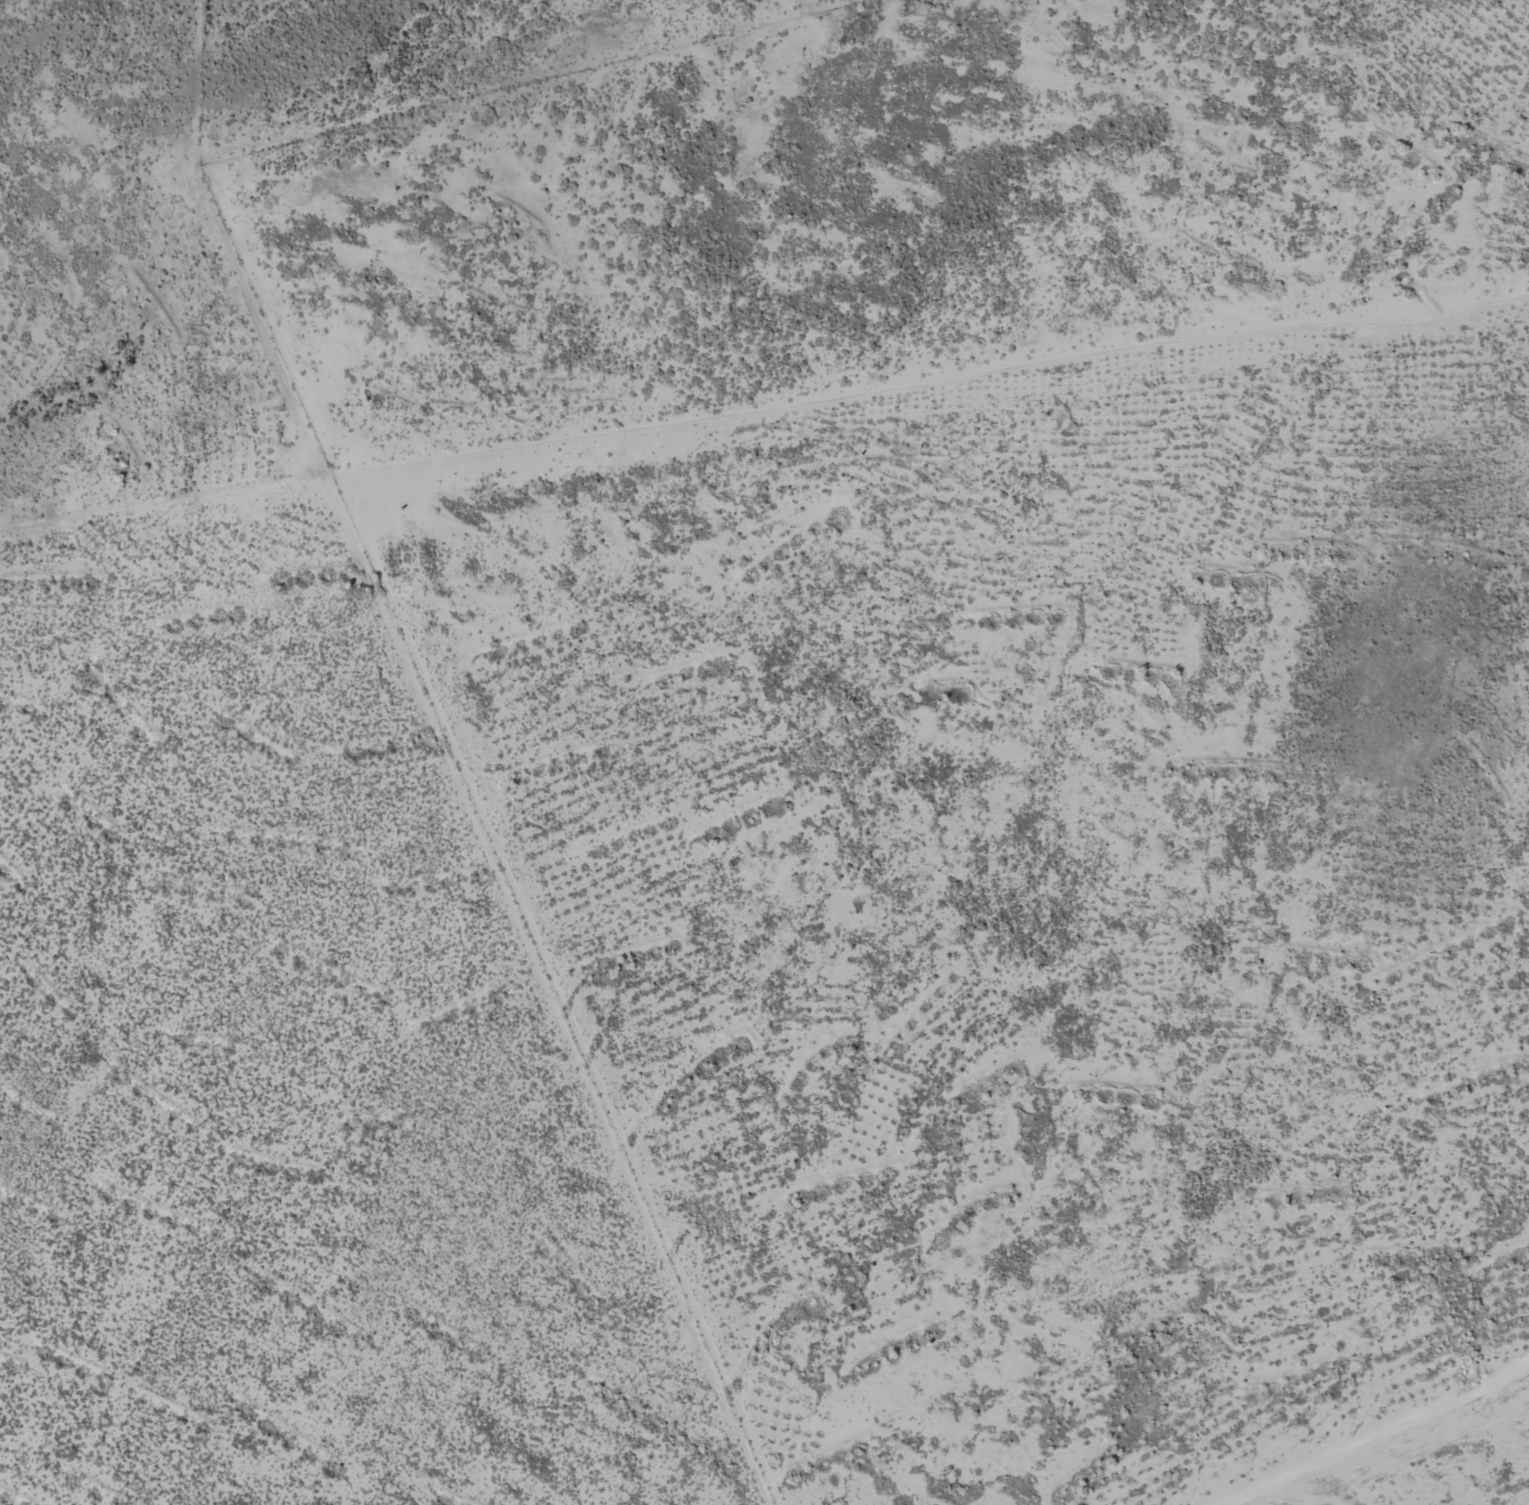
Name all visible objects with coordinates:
power tower: (1519, 1386)

